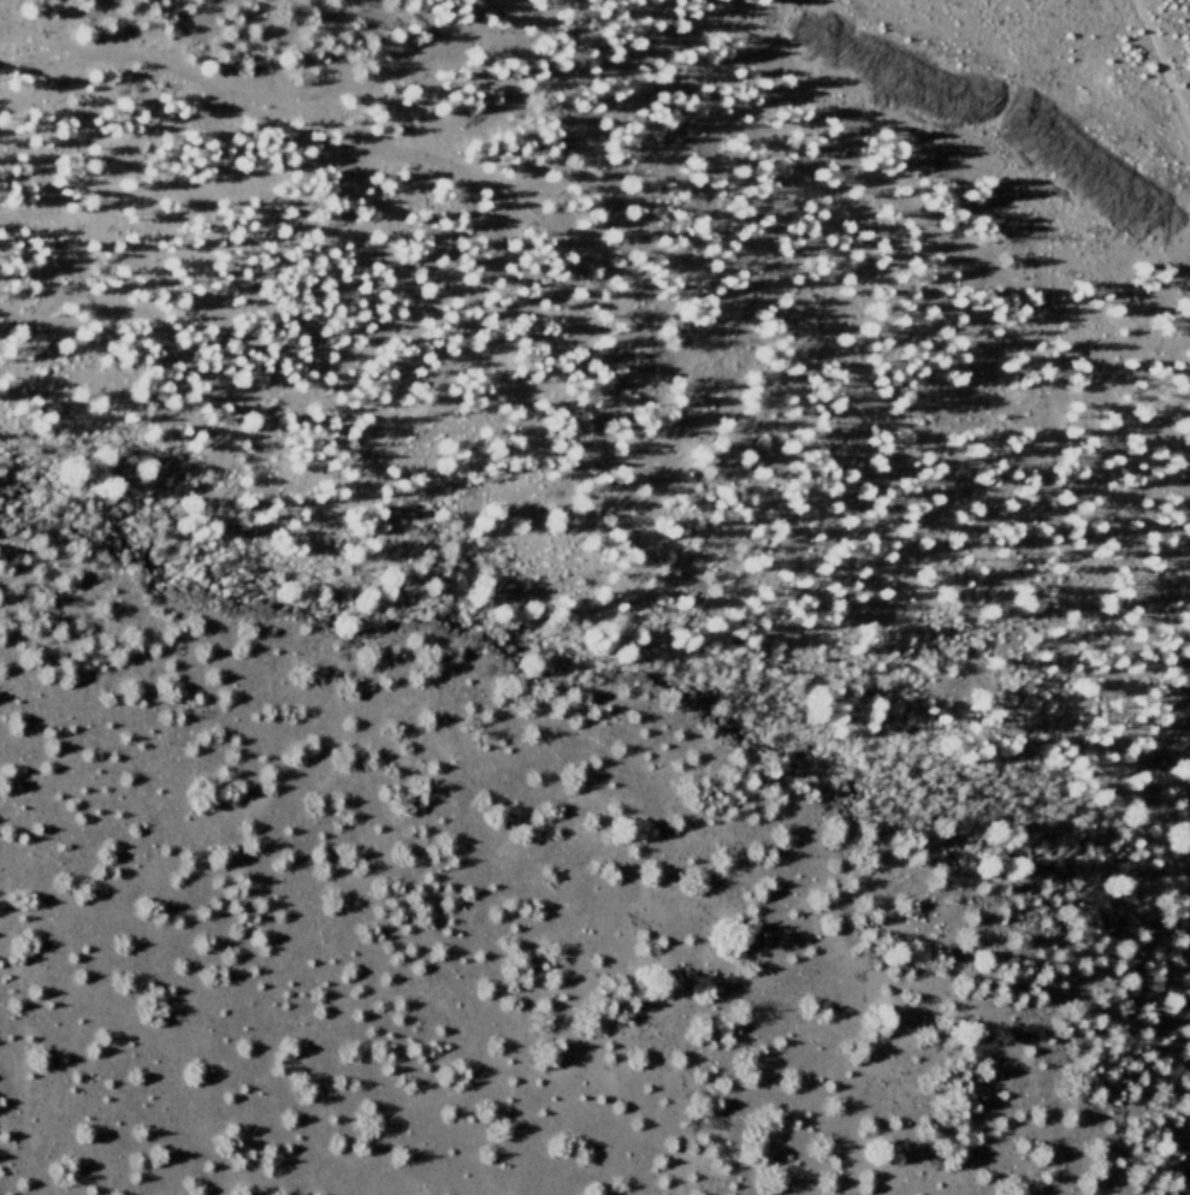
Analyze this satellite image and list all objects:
road: (1167, 52)

